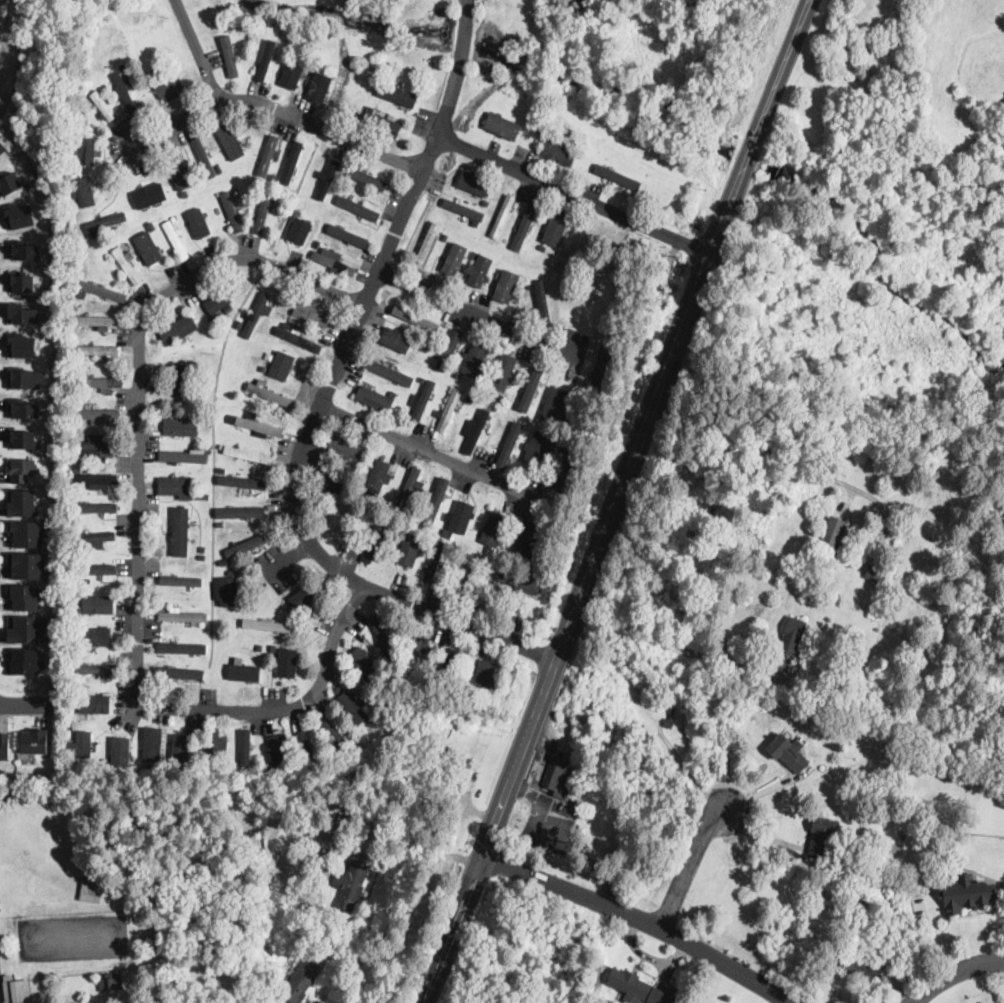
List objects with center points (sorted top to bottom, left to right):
building: (263, 46)
road: (198, 49)
building: (230, 58)
building: (267, 59)
building: (299, 60)
building: (122, 68)
building: (325, 70)
building: (155, 73)
building: (292, 75)
building: (168, 86)
building: (319, 87)
building: (124, 91)
building: (397, 95)
building: (103, 106)
road: (276, 109)
building: (370, 111)
building: (500, 126)
building: (386, 127)
building: (541, 130)
building: (229, 140)
building: (2, 148)
building: (86, 152)
building: (558, 152)
building: (267, 156)
building: (204, 158)
building: (240, 160)
building: (292, 162)
building: (219, 170)
building: (178, 171)
building: (273, 176)
building: (617, 177)
building: (366, 178)
building: (328, 180)
building: (8, 181)
building: (474, 184)
building: (85, 191)
building: (351, 193)
building: (185, 194)
building: (150, 195)
road: (574, 195)
building: (328, 199)
building: (485, 202)
building: (358, 207)
building: (157, 209)
building: (463, 209)
building: (241, 212)
building: (231, 213)
building: (18, 214)
building: (262, 214)
building: (502, 217)
building: (114, 218)
building: (174, 218)
building: (199, 222)
building: (529, 223)
building: (151, 225)
building: (555, 228)
building: (303, 229)
building: (108, 233)
building: (346, 236)
building: (132, 240)
building: (176, 241)
building: (428, 242)
building: (318, 245)
building: (548, 245)
building: (25, 250)
building: (150, 252)
building: (474, 255)
building: (455, 258)
building: (333, 261)
building: (127, 266)
building: (479, 270)
building: (21, 282)
building: (507, 285)
building: (528, 287)
building: (102, 291)
building: (218, 302)
building: (542, 302)
building: (292, 305)
building: (222, 311)
road: (469, 311)
building: (23, 312)
building: (312, 313)
building: (255, 315)
building: (415, 319)
building: (95, 321)
building: (286, 324)
building: (178, 329)
park: (893, 333)
building: (598, 335)
building: (298, 338)
building: (397, 339)
building: (22, 343)
building: (449, 349)
building: (97, 350)
building: (463, 358)
building: (475, 359)
building: (282, 366)
building: (262, 369)
building: (391, 371)
building: (503, 372)
building: (599, 375)
building: (26, 379)
building: (183, 380)
building: (422, 380)
building: (101, 383)
building: (532, 388)
building: (270, 395)
building: (197, 397)
building: (375, 397)
road: (323, 398)
building: (500, 398)
building: (470, 399)
building: (422, 400)
building: (554, 403)
building: (516, 405)
building: (24, 408)
building: (448, 411)
building: (98, 415)
building: (204, 415)
building: (232, 417)
building: (259, 426)
building: (180, 428)
building: (476, 430)
building: (22, 439)
building: (508, 443)
building: (78, 444)
building: (221, 445)
building: (98, 447)
building: (537, 448)
building: (345, 449)
road: (425, 449)
building: (565, 450)
building: (248, 455)
building: (184, 456)
road: (789, 458)
building: (22, 469)
building: (222, 469)
building: (77, 470)
building: (380, 472)
building: (565, 476)
building: (96, 480)
building: (243, 480)
building: (331, 483)
building: (176, 484)
building: (409, 488)
building: (385, 494)
building: (205, 495)
building: (547, 497)
building: (22, 501)
road: (617, 501)
building: (437, 502)
building: (95, 506)
building: (240, 511)
building: (80, 518)
building: (461, 518)
building: (369, 520)
building: (415, 520)
building: (342, 525)
building: (493, 528)
road: (141, 531)
building: (180, 531)
building: (834, 532)
building: (26, 533)
building: (445, 533)
building: (96, 537)
building: (375, 538)
building: (526, 538)
building: (226, 544)
building: (245, 545)
building: (450, 546)
building: (456, 548)
building: (202, 549)
building: (405, 551)
building: (224, 561)
building: (434, 561)
building: (28, 564)
building: (94, 570)
building: (876, 572)
building: (468, 573)
building: (183, 580)
building: (521, 584)
building: (546, 589)
building: (228, 592)
building: (24, 595)
building: (308, 597)
building: (96, 604)
building: (174, 608)
building: (504, 610)
building: (183, 617)
building: (267, 626)
building: (27, 628)
building: (381, 631)
building: (250, 634)
building: (95, 637)
road: (669, 642)
building: (789, 644)
building: (260, 647)
building: (273, 647)
building: (181, 648)
building: (416, 652)
building: (238, 660)
building: (25, 661)
building: (287, 663)
building: (363, 663)
building: (449, 664)
building: (97, 669)
building: (179, 673)
building: (245, 674)
building: (481, 678)
building: (460, 687)
building: (337, 689)
road: (26, 705)
building: (94, 705)
building: (351, 708)
building: (73, 718)
building: (667, 723)
building: (69, 727)
building: (335, 734)
building: (35, 740)
building: (152, 743)
building: (83, 744)
building: (5, 745)
building: (181, 749)
building: (215, 749)
building: (245, 750)
building: (279, 751)
building: (307, 751)
building: (787, 753)
building: (115, 758)
building: (454, 759)
building: (429, 763)
building: (289, 772)
building: (559, 775)
building: (334, 778)
building: (316, 832)
building: (821, 837)
road: (414, 855)
road: (691, 867)
building: (352, 886)
building: (91, 891)
building: (966, 893)
road: (641, 921)
building: (865, 966)
road: (956, 973)
building: (302, 979)
building: (110, 983)
building: (630, 986)
building: (17, 990)
building: (250, 999)

